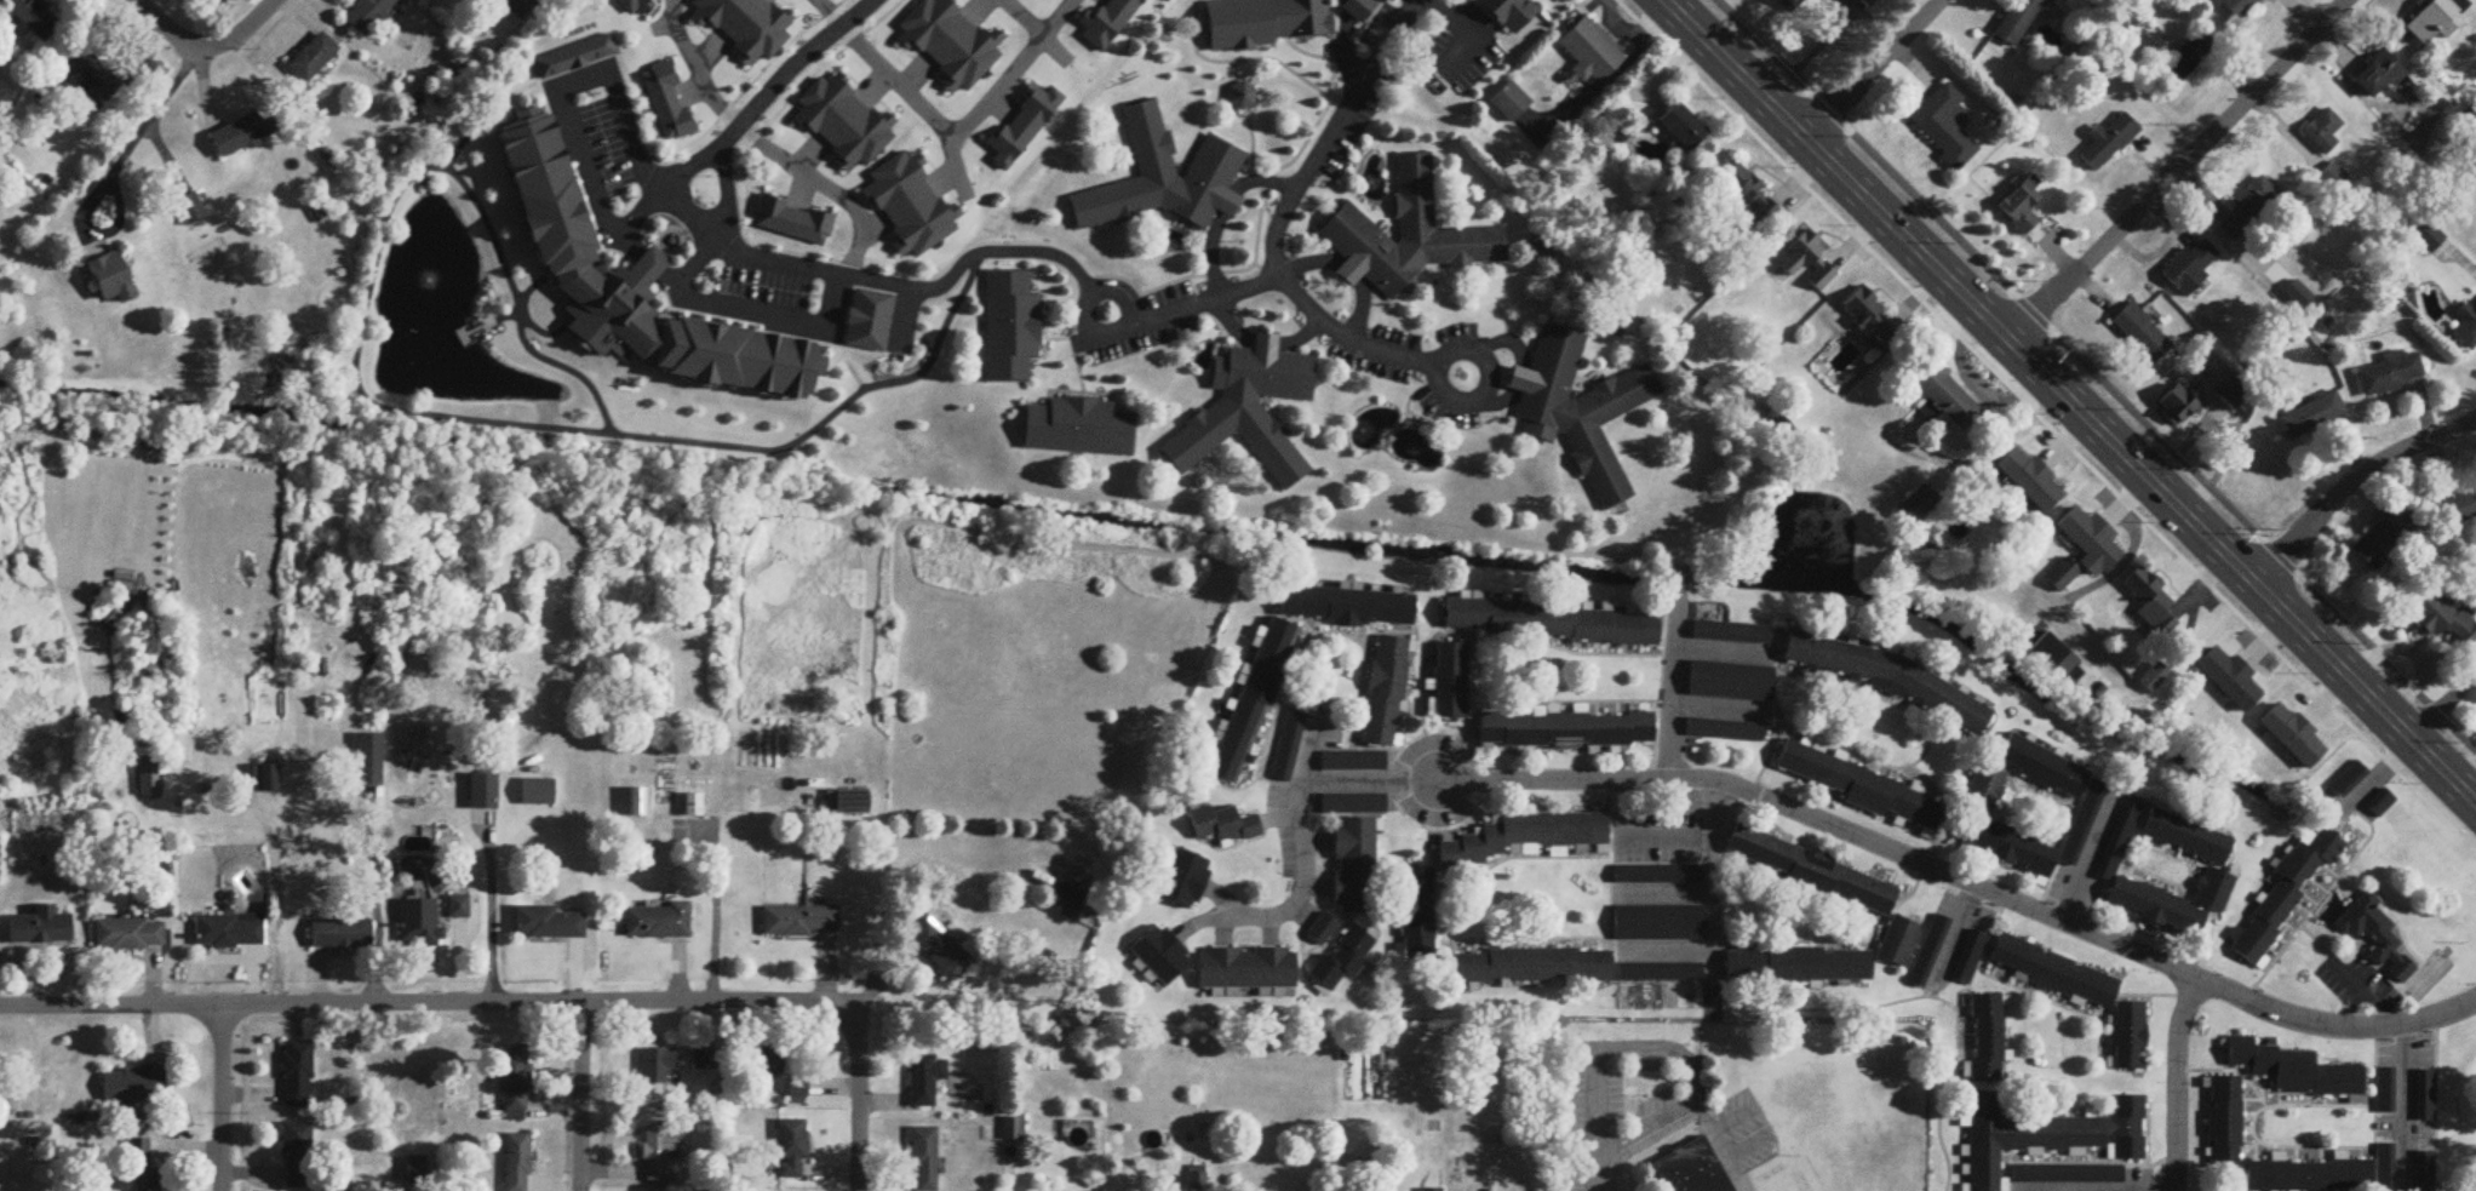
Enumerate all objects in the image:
building: (1792, 4)
building: (2240, 7)
building: (520, 8)
road: (832, 12)
building: (368, 15)
building: (34, 17)
building: (1244, 21)
building: (2018, 21)
building: (2436, 21)
road: (161, 25)
road: (237, 34)
road: (1041, 34)
building: (1592, 55)
building: (313, 58)
building: (575, 58)
building: (2186, 59)
road: (695, 69)
road: (1869, 69)
building: (2378, 76)
building: (93, 78)
building: (1511, 104)
road: (746, 121)
building: (1684, 127)
road: (944, 128)
building: (1944, 128)
road: (139, 131)
building: (245, 133)
building: (2322, 133)
road: (1331, 134)
building: (2109, 143)
road: (575, 144)
road: (2177, 170)
building: (2332, 178)
building: (1163, 181)
building: (1752, 199)
building: (2022, 207)
building: (195, 208)
road: (850, 208)
building: (2247, 210)
road: (728, 228)
building: (1408, 237)
building: (1809, 262)
building: (2190, 267)
road: (818, 270)
building: (113, 280)
building: (631, 285)
road: (1286, 291)
road: (1095, 294)
road: (776, 316)
building: (1868, 319)
building: (869, 322)
building: (1011, 328)
building: (2466, 328)
building: (2142, 334)
road: (1437, 371)
building: (2390, 374)
road: (2087, 385)
building: (2237, 394)
building: (1947, 396)
road: (2070, 401)
building: (2180, 405)
building: (1578, 410)
building: (1249, 412)
building: (2311, 417)
road: (2051, 420)
building: (1079, 429)
building: (2030, 481)
road: (2351, 482)
building: (1916, 506)
building: (2460, 509)
building: (2383, 538)
building: (2090, 542)
road: (2130, 546)
building: (2149, 600)
building: (1346, 601)
building: (1548, 617)
building: (2443, 620)
building: (1727, 626)
road: (1723, 647)
building: (2057, 662)
building: (1445, 674)
building: (1882, 674)
building: (1725, 676)
road: (1673, 680)
building: (2230, 681)
building: (1379, 686)
building: (1248, 695)
road: (1718, 706)
road: (2442, 706)
building: (1563, 722)
building: (1720, 725)
building: (2293, 738)
building: (1283, 739)
road: (1308, 749)
building: (1352, 757)
building: (371, 762)
building: (2034, 765)
parking lot: (1437, 778)
building: (269, 780)
building: (2349, 780)
building: (150, 784)
building: (1978, 786)
building: (1856, 788)
building: (483, 794)
building: (539, 795)
building: (1352, 800)
building: (638, 805)
building: (2380, 805)
building: (848, 806)
building: (694, 807)
road: (1300, 811)
road: (1277, 815)
building: (2079, 819)
parking lot: (1655, 825)
building: (1228, 826)
road: (1668, 829)
building: (1519, 835)
building: (2182, 835)
building: (2114, 836)
road: (1317, 838)
building: (2004, 844)
building: (1352, 859)
road: (2084, 861)
building: (1807, 866)
building: (1652, 870)
building: (1177, 874)
road: (1713, 874)
road: (1317, 883)
road: (1962, 883)
building: (2210, 887)
parking lot: (2070, 889)
road: (1668, 891)
building: (2281, 892)
road: (1222, 899)
building: (2148, 903)
building: (1067, 904)
parking lot: (1962, 907)
building: (459, 909)
road: (376, 915)
road: (1313, 917)
building: (1657, 917)
road: (713, 921)
building: (799, 922)
road: (1194, 922)
building: (422, 924)
building: (657, 924)
building: (549, 926)
building: (2366, 926)
building: (40, 929)
road: (1269, 929)
building: (1323, 931)
road: (1222, 932)
building: (229, 933)
road: (1949, 935)
building: (130, 937)
building: (340, 937)
road: (492, 937)
building: (1893, 937)
road: (1668, 945)
building: (1481, 947)
building: (1922, 947)
building: (1158, 951)
building: (1965, 952)
building: (942, 954)
building: (1343, 954)
building: (1790, 961)
building: (1243, 967)
building: (1655, 967)
building: (2047, 969)
park: (2426, 970)
parking lot: (2352, 979)
road: (2354, 983)
road: (420, 1006)
road: (2386, 1010)
building: (1983, 1030)
building: (2122, 1032)
road: (1618, 1049)
parking lot: (1645, 1060)
building: (704, 1063)
building: (767, 1064)
building: (2285, 1066)
building: (658, 1069)
building: (297, 1076)
building: (514, 1081)
building: (806, 1081)
building: (925, 1081)
road: (2174, 1081)
building: (2382, 1083)
building: (132, 1086)
building: (2420, 1089)
road: (220, 1096)
road: (578, 1099)
road: (858, 1099)
road: (2398, 1109)
parking lot: (1587, 1113)
building: (2220, 1113)
parking lot: (1657, 1115)
road: (1730, 1116)
building: (1013, 1130)
road: (1638, 1132)
building: (2039, 1133)
parking lot: (1733, 1134)
road: (1651, 1149)
building: (791, 1151)
building: (659, 1153)
road: (1727, 1155)
building: (296, 1157)
building: (924, 1159)
building: (517, 1163)
building: (2380, 1164)
building: (1687, 1167)
building: (142, 1168)
building: (2421, 1168)
building: (2064, 1170)
road: (1742, 1173)
road: (2094, 1190)

